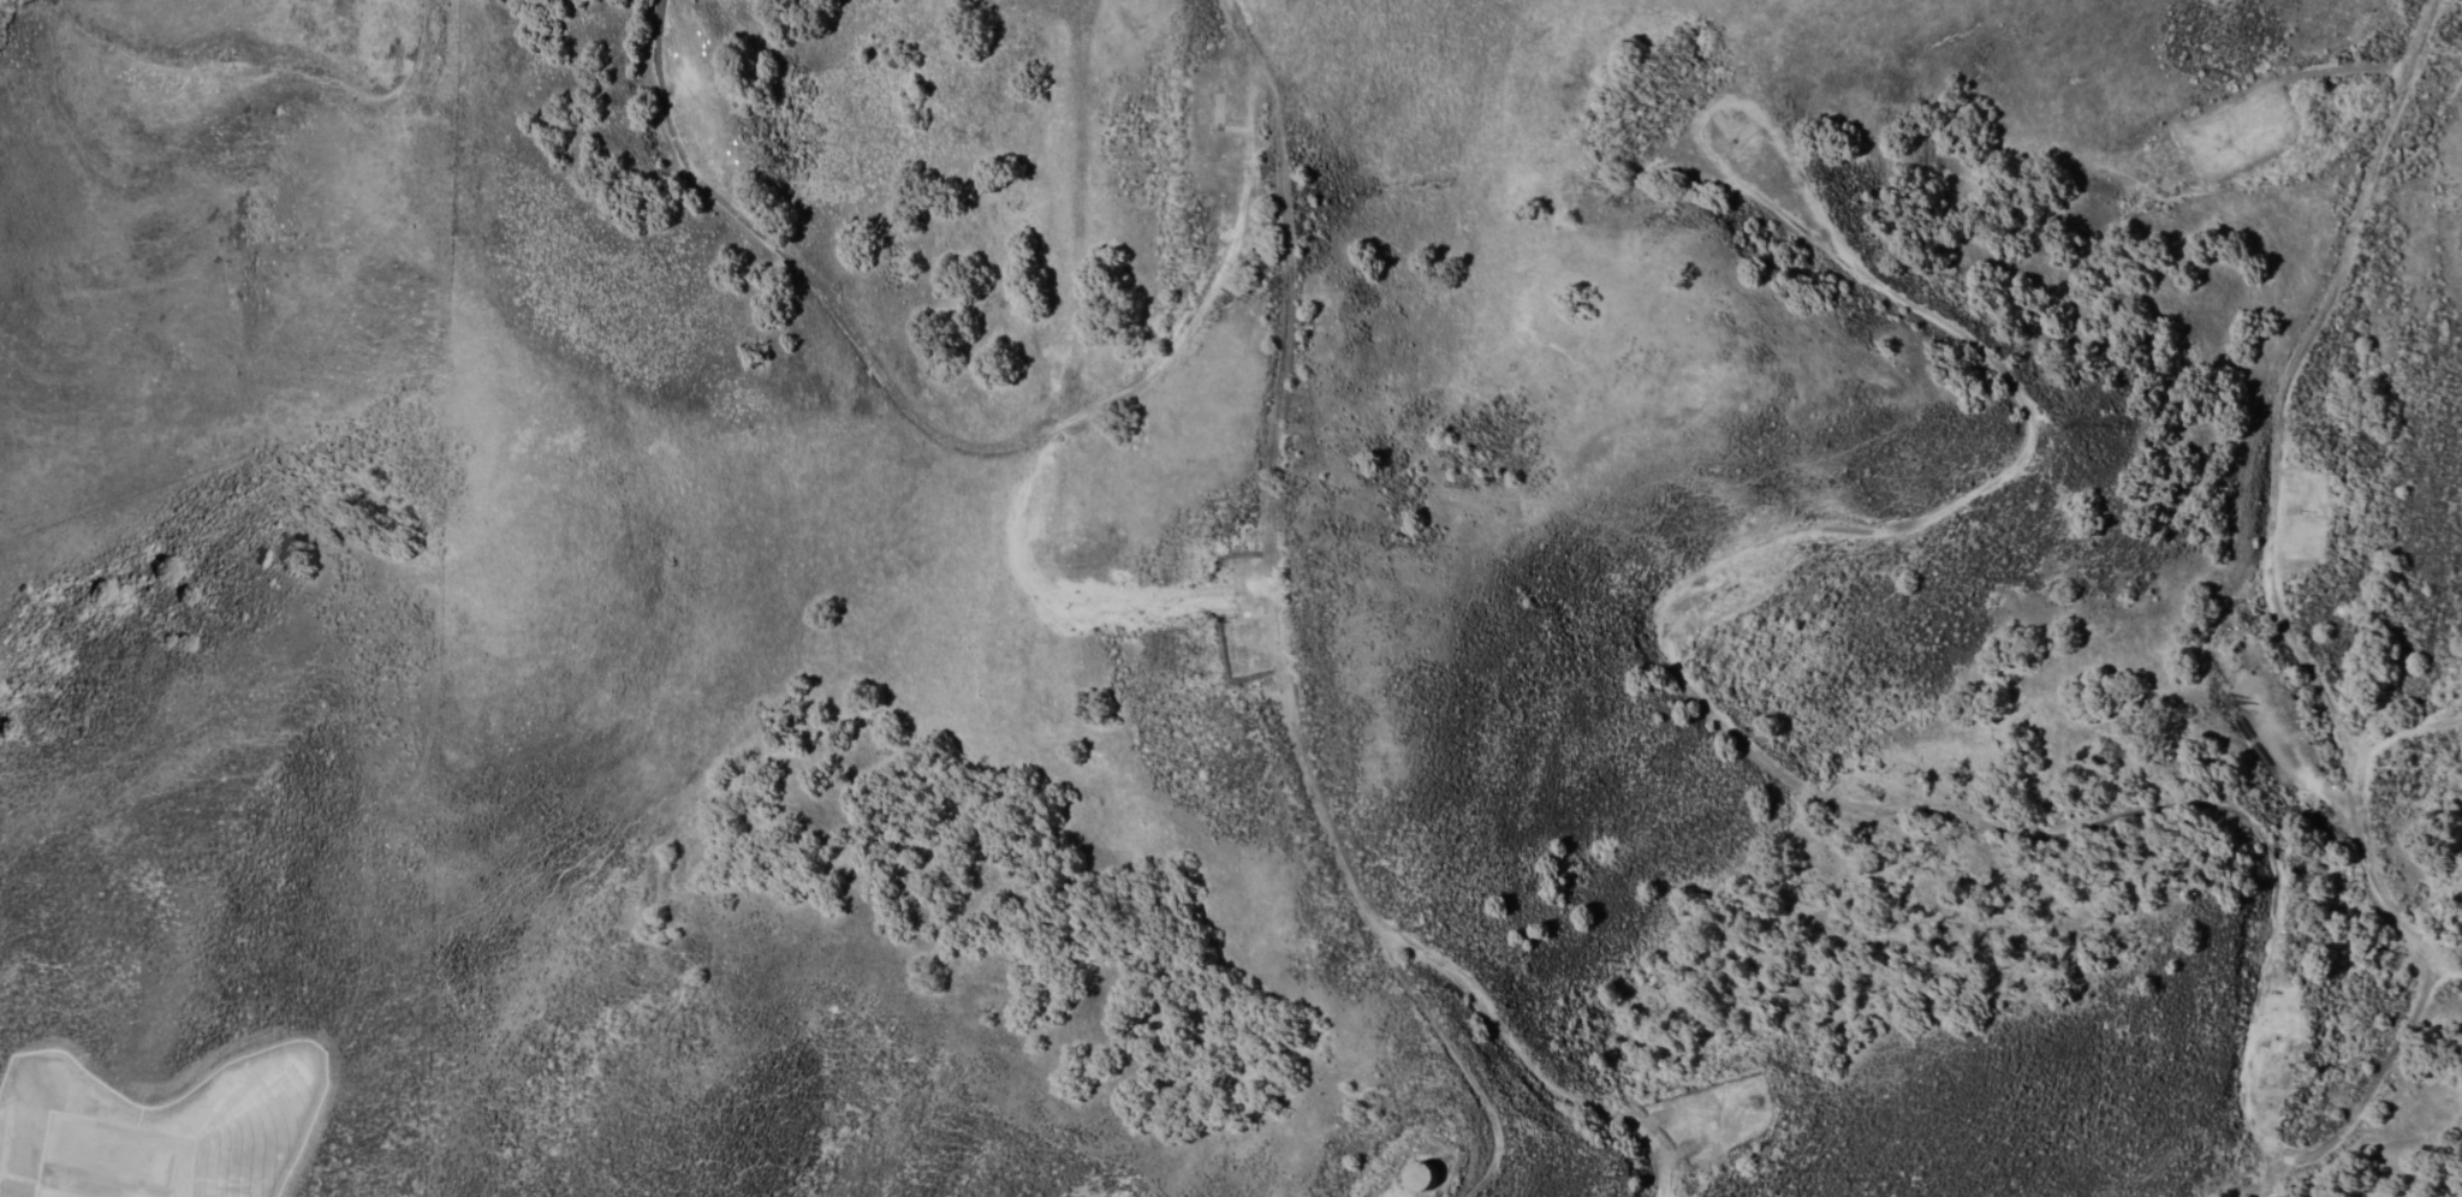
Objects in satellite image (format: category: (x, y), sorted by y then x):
road: (273, 52)
road: (950, 442)
road: (2270, 498)
road: (1281, 672)
road: (2404, 733)
road: (1861, 802)

